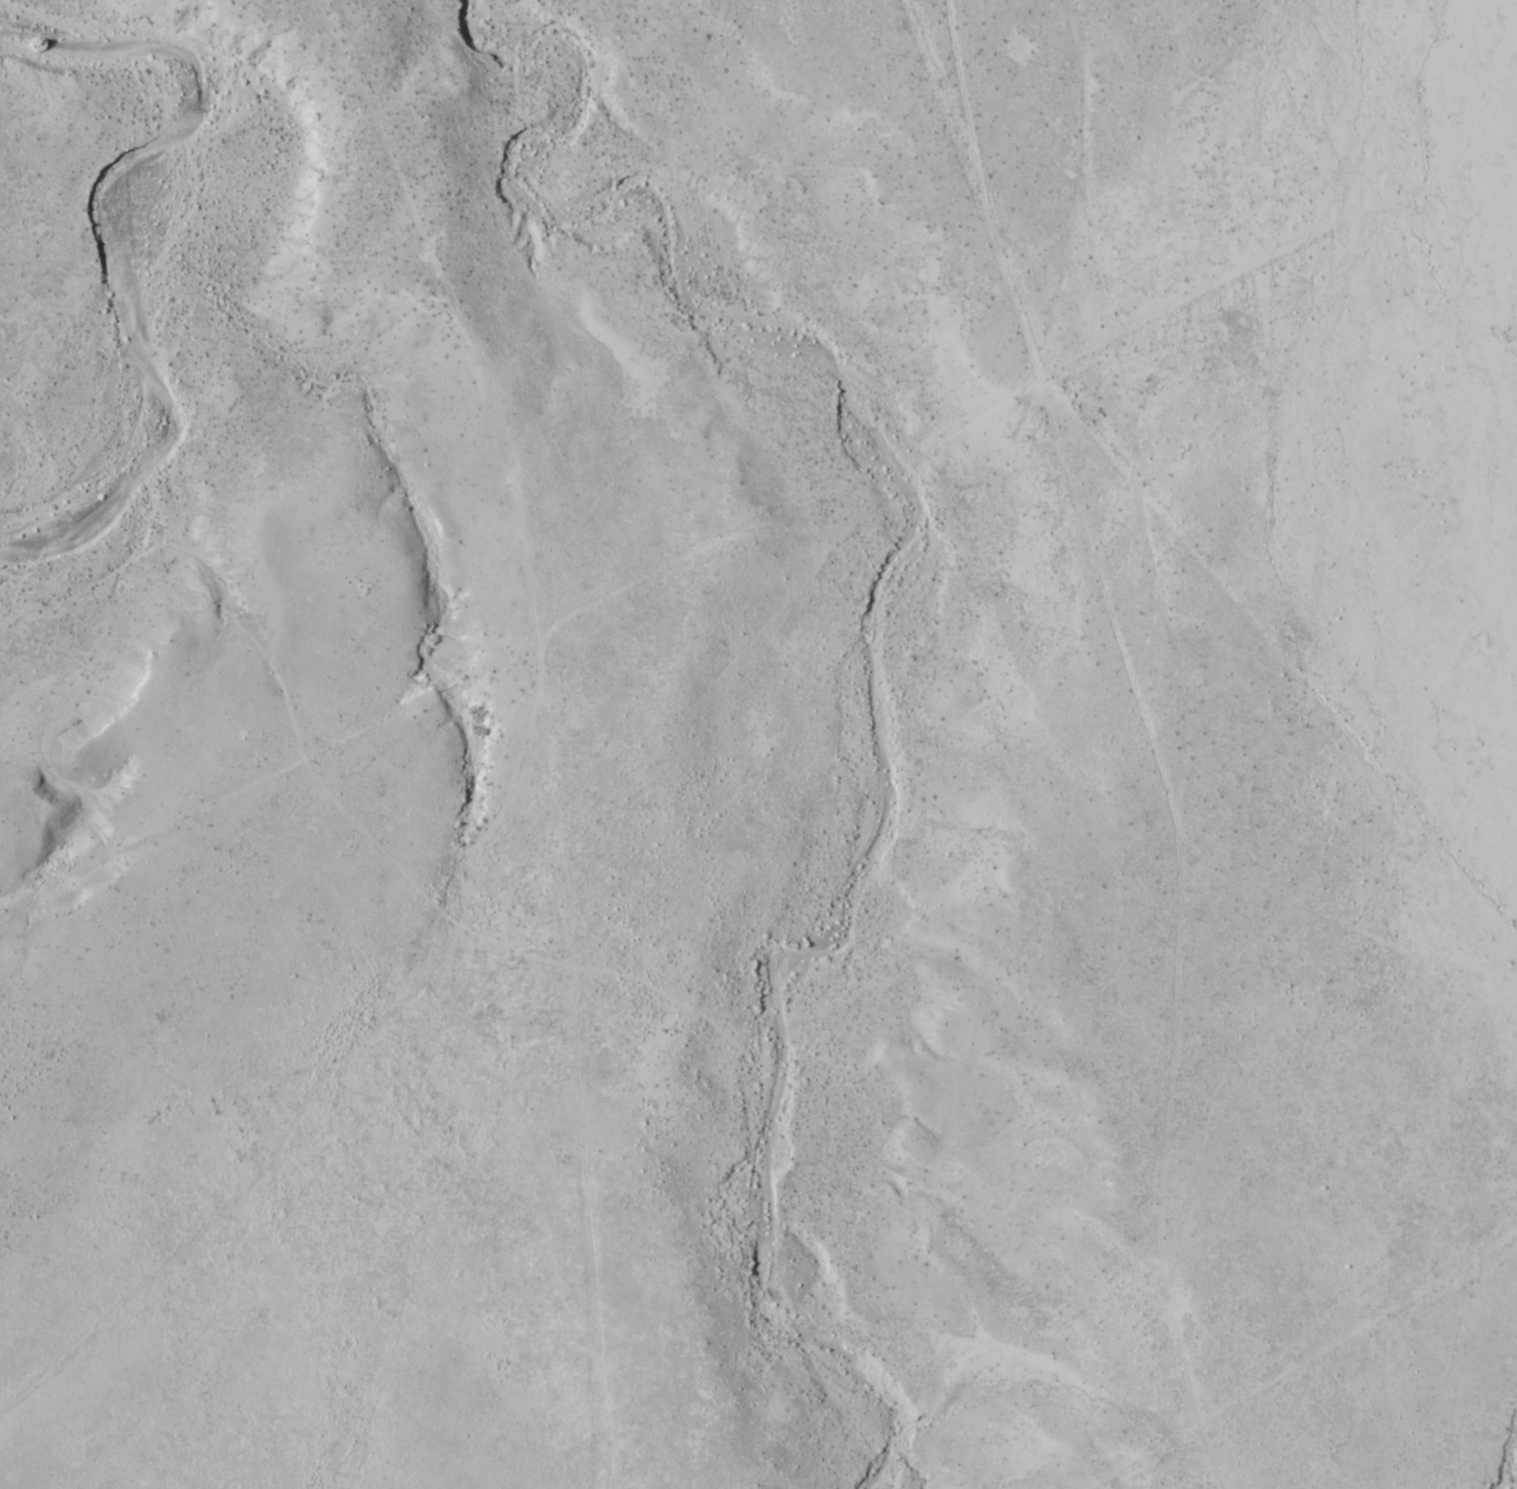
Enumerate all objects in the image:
river: (157, 240)

